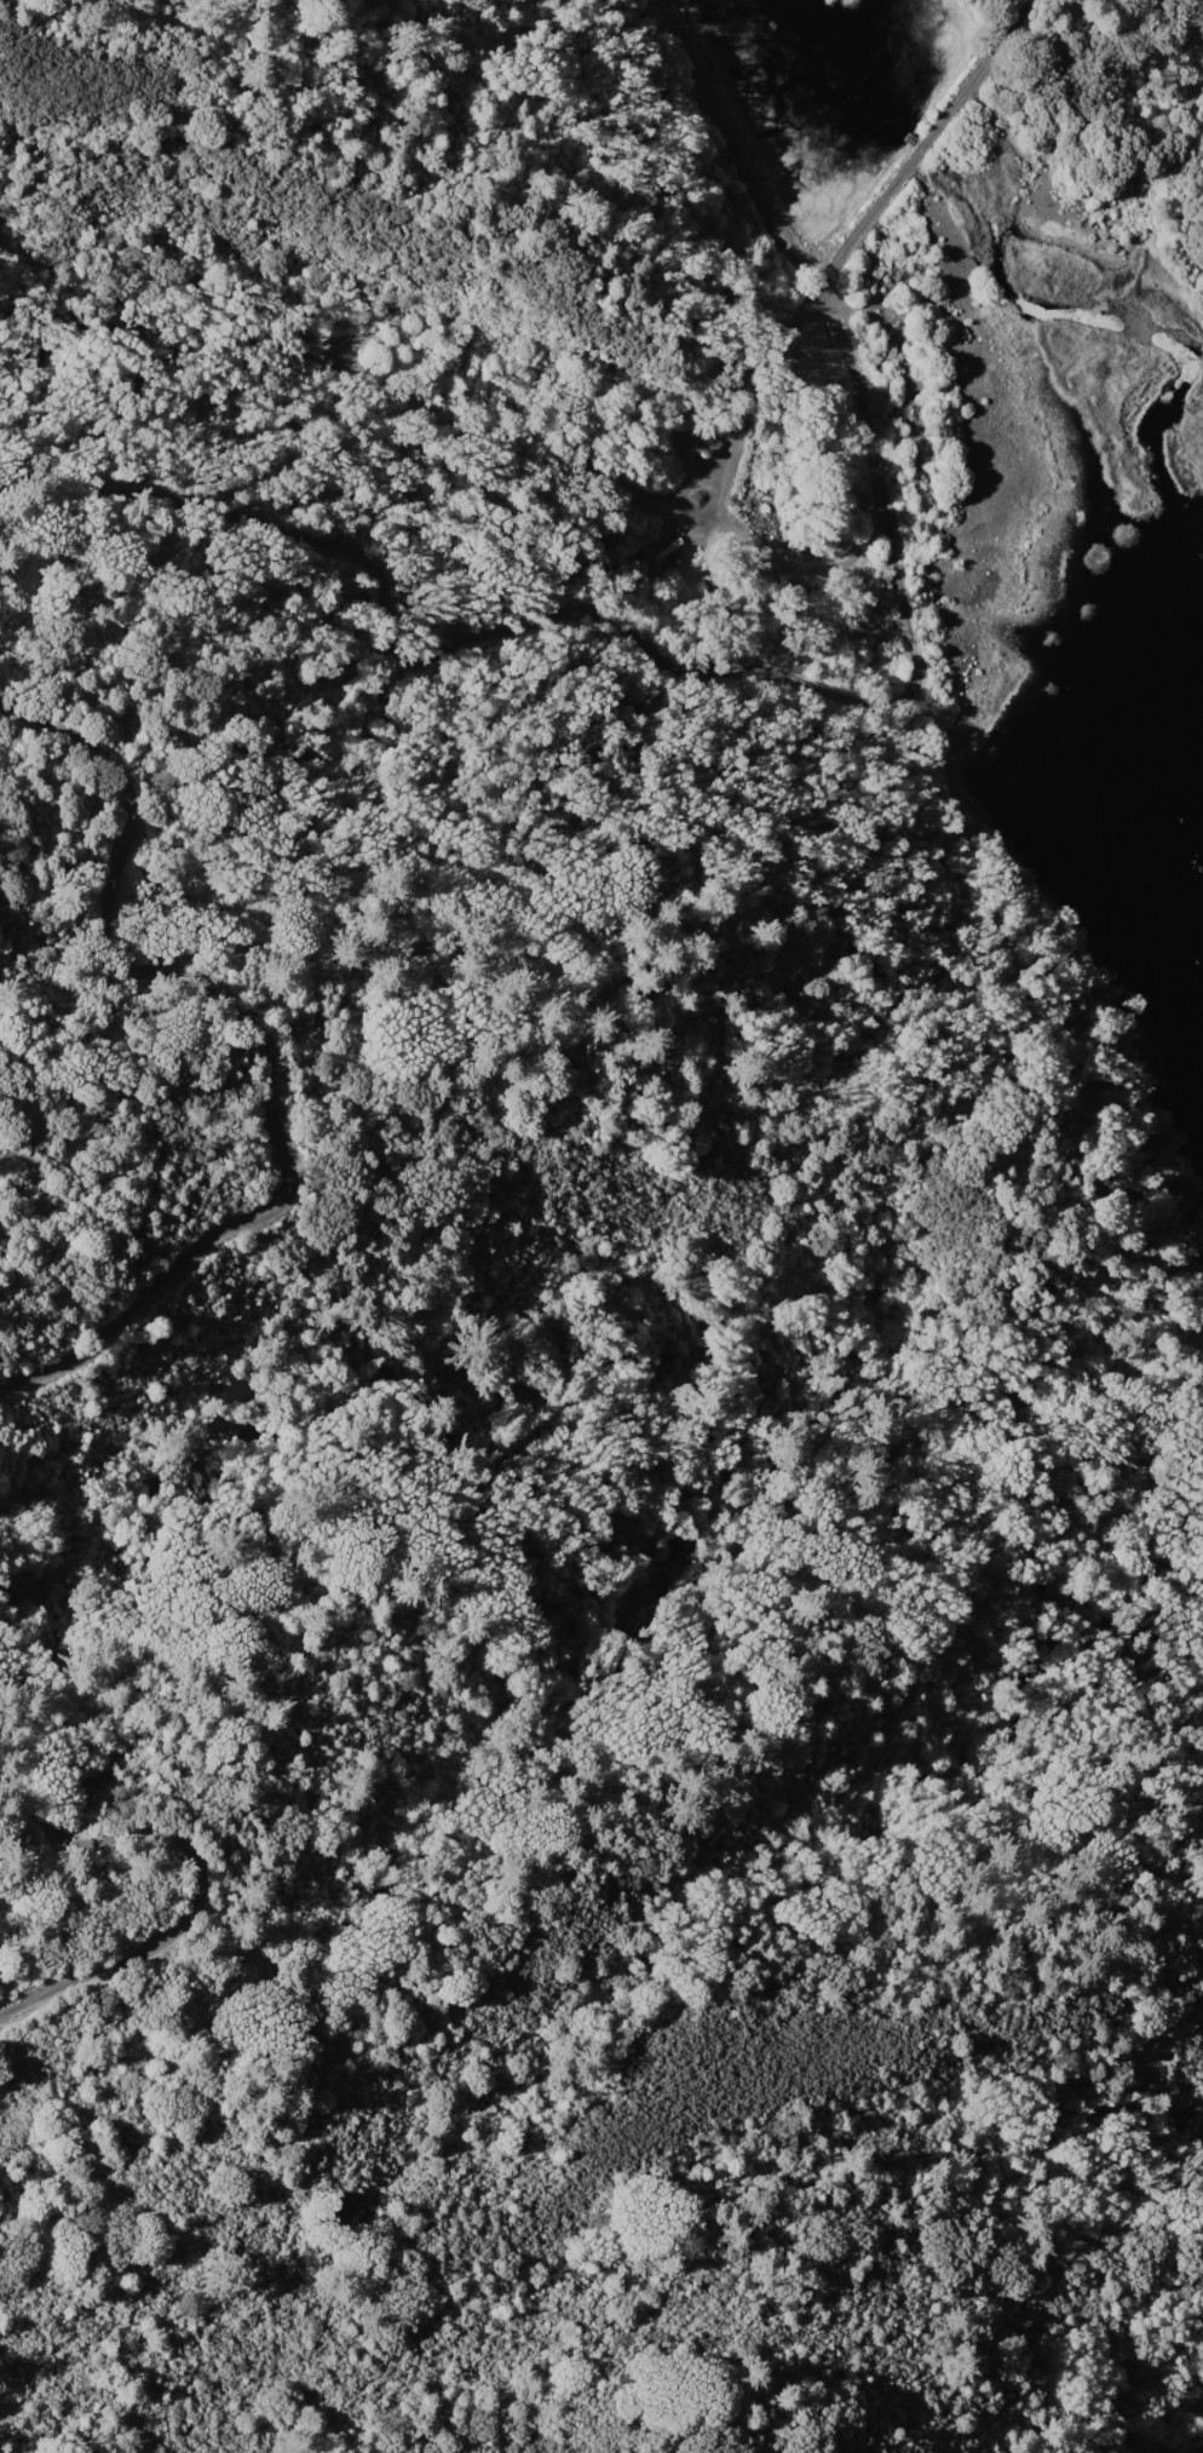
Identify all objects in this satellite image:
road: (1008, 29)
road: (956, 99)
road: (921, 147)
road: (870, 213)
road: (838, 326)
road: (736, 437)
road: (801, 562)
road: (428, 648)
road: (272, 1039)
road: (198, 1897)

